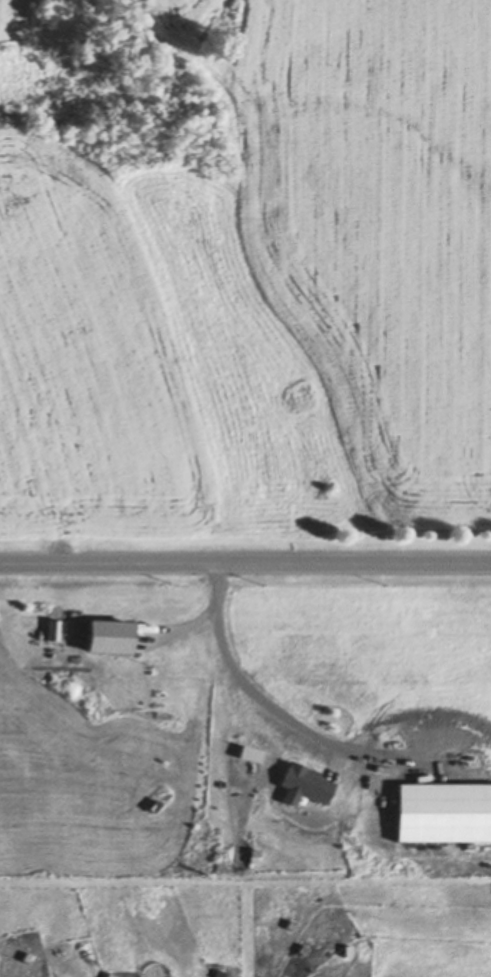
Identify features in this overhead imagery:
building: (236, 4)
road: (245, 563)
building: (180, 644)
road: (253, 692)
building: (396, 752)
building: (255, 785)
building: (445, 812)
building: (157, 822)
building: (294, 924)
building: (13, 938)
building: (305, 950)
building: (350, 951)
building: (222, 973)

